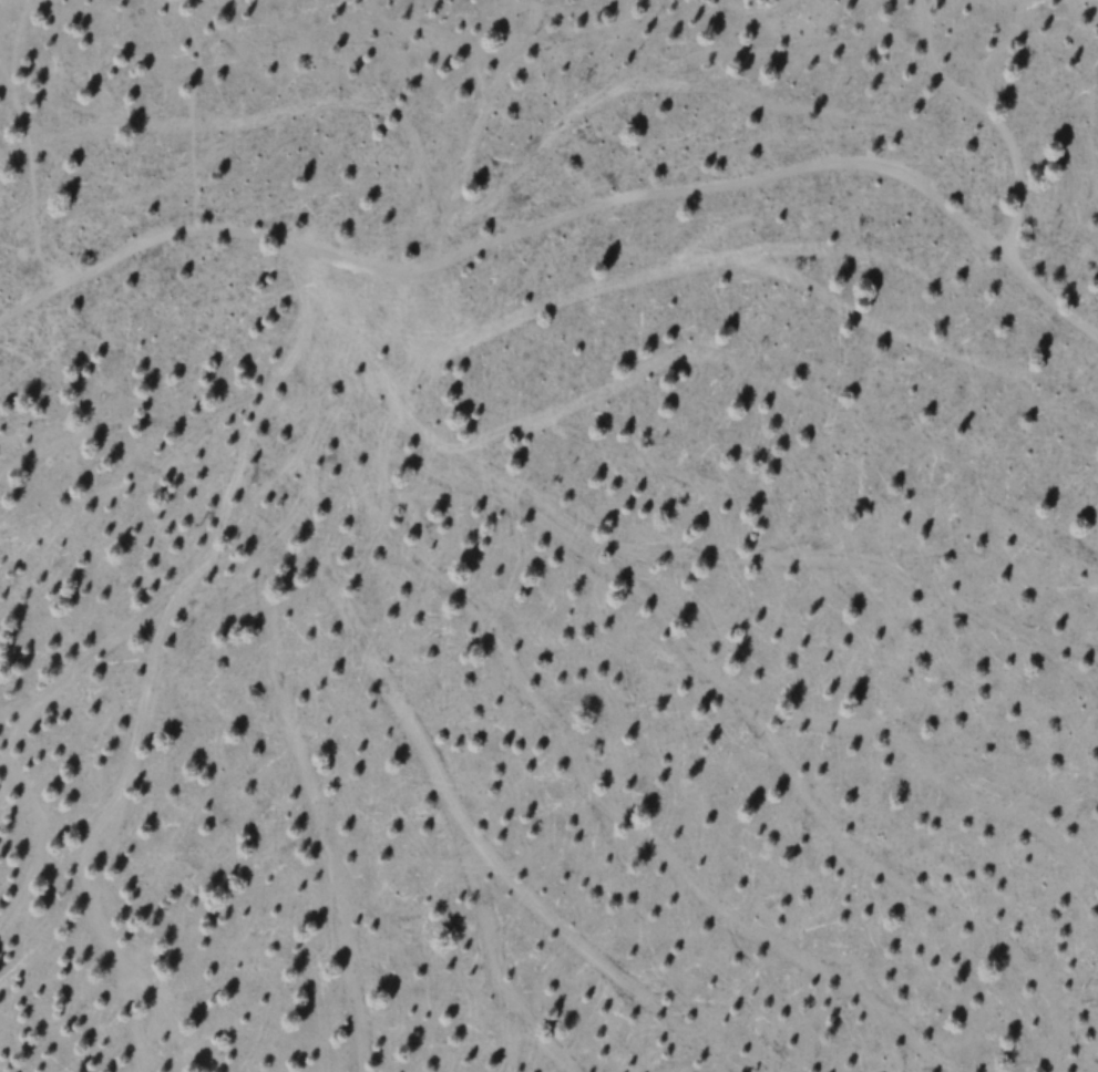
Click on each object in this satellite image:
road: (998, 121)
road: (564, 215)

